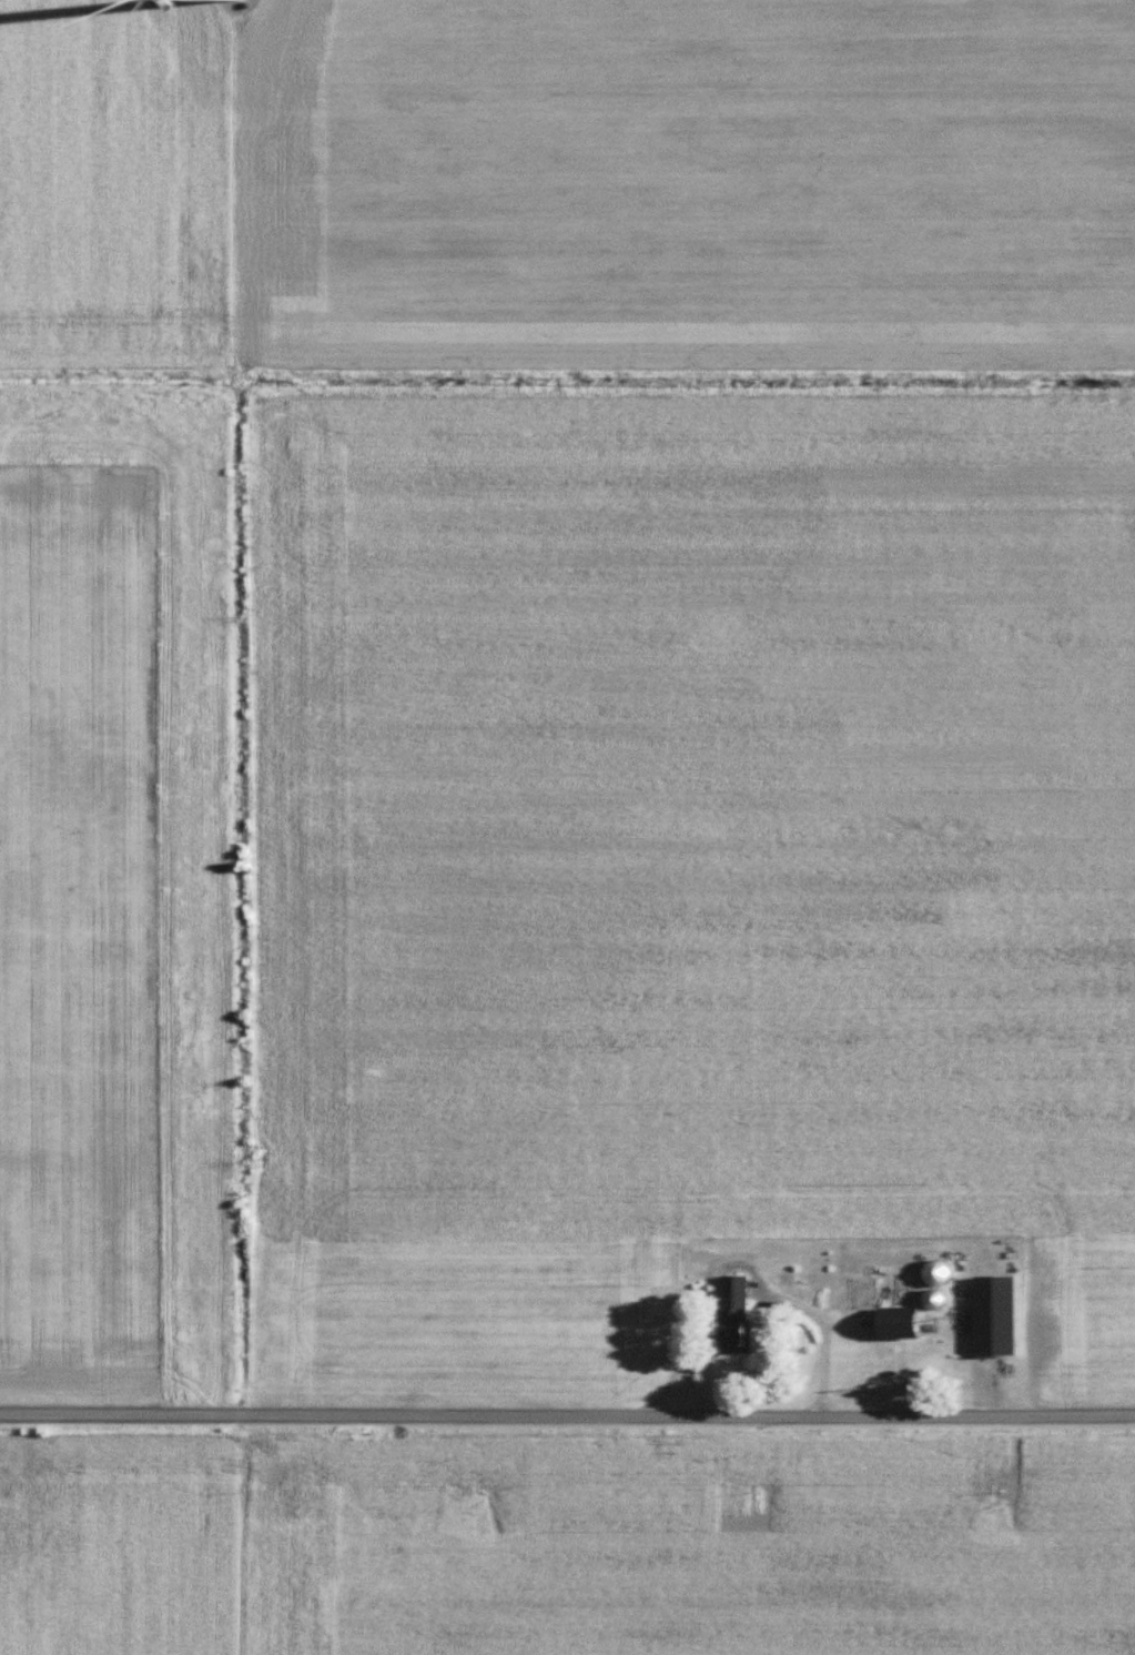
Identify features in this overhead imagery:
wind turbine: (219, 1)
building: (933, 1273)
building: (865, 1305)
building: (729, 1313)
building: (991, 1315)
road: (567, 1417)

